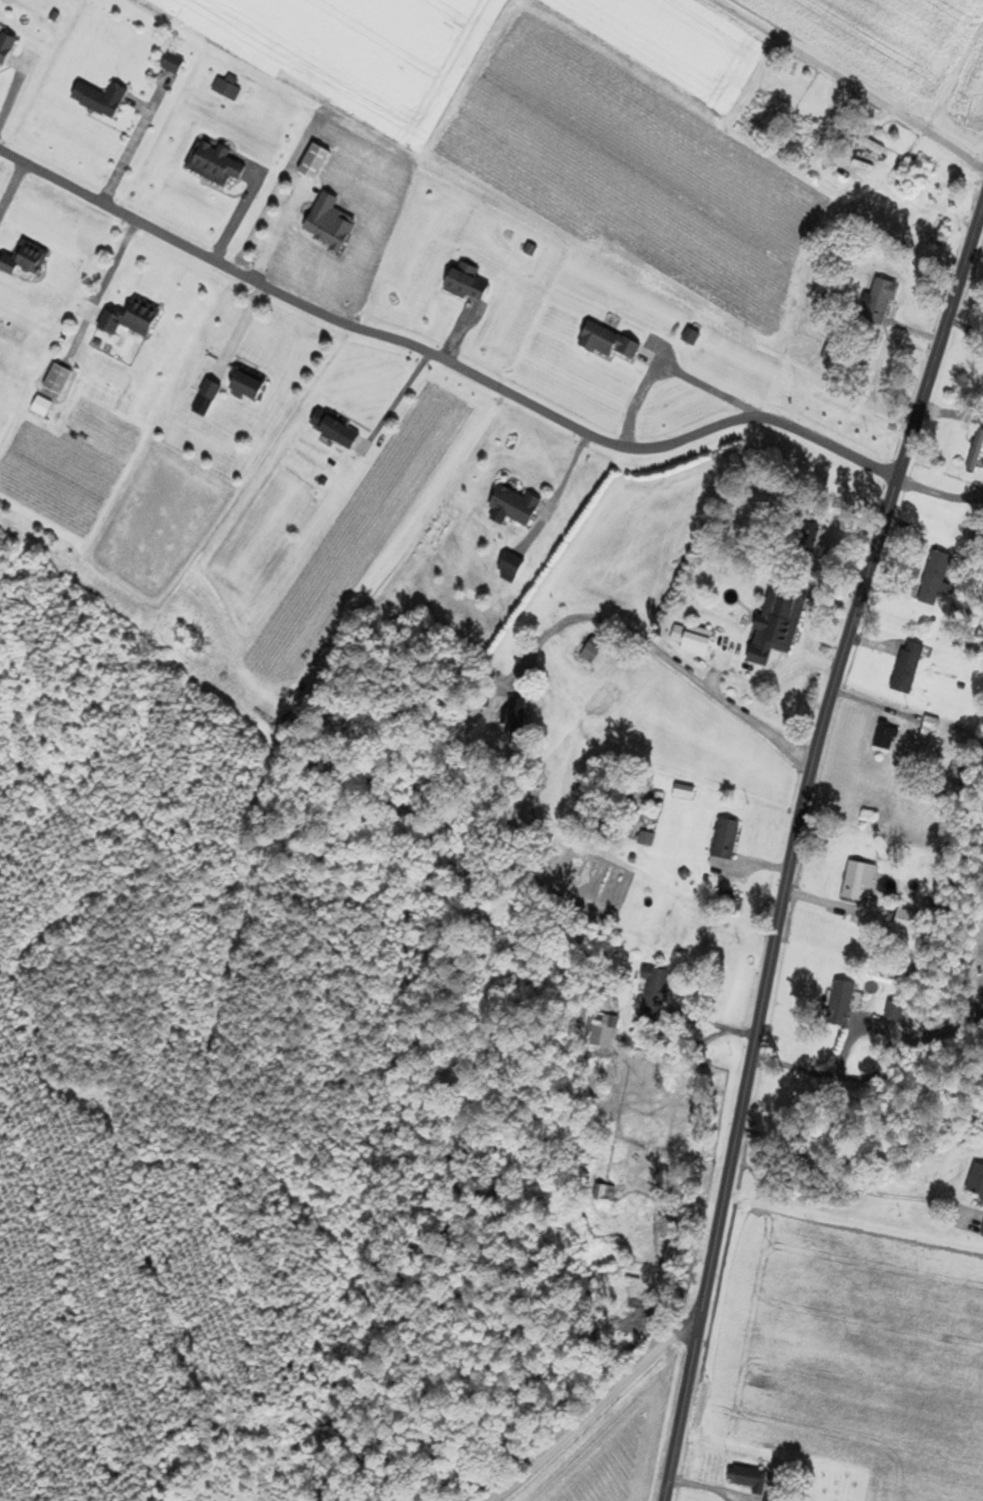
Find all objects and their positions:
building: (4, 49)
building: (171, 63)
road: (845, 81)
building: (99, 98)
building: (800, 134)
building: (867, 145)
road: (131, 155)
building: (312, 161)
building: (214, 163)
road: (241, 219)
building: (327, 222)
building: (23, 260)
building: (465, 283)
building: (877, 302)
building: (129, 319)
building: (824, 322)
building: (607, 343)
road: (444, 362)
building: (56, 379)
building: (245, 386)
building: (205, 397)
road: (395, 398)
building: (39, 407)
road: (952, 413)
building: (333, 429)
building: (974, 451)
road: (941, 494)
building: (516, 508)
building: (810, 534)
building: (933, 580)
building: (766, 627)
building: (695, 641)
road: (654, 647)
building: (590, 650)
building: (905, 668)
building: (515, 715)
building: (926, 730)
building: (883, 736)
building: (955, 771)
building: (682, 792)
building: (722, 839)
road: (795, 846)
building: (853, 881)
building: (651, 995)
building: (842, 1003)
building: (593, 1035)
building: (975, 1182)
building: (602, 1193)
building: (981, 1232)
road: (596, 1407)
building: (744, 1477)
building: (772, 1499)

